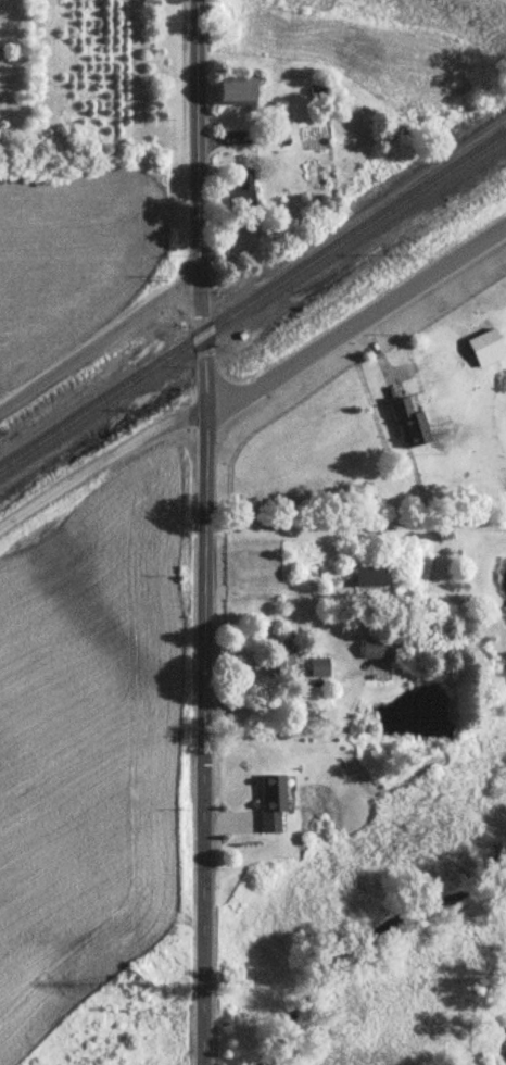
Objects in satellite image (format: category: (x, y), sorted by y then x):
crop: (396, 41)
building: (238, 93)
building: (245, 190)
railway: (253, 303)
road: (356, 329)
road: (99, 343)
building: (486, 349)
building: (409, 426)
road: (356, 518)
road: (205, 531)
building: (370, 578)
building: (378, 650)
building: (282, 662)
building: (320, 668)
building: (274, 804)
power tower: (136, 988)

